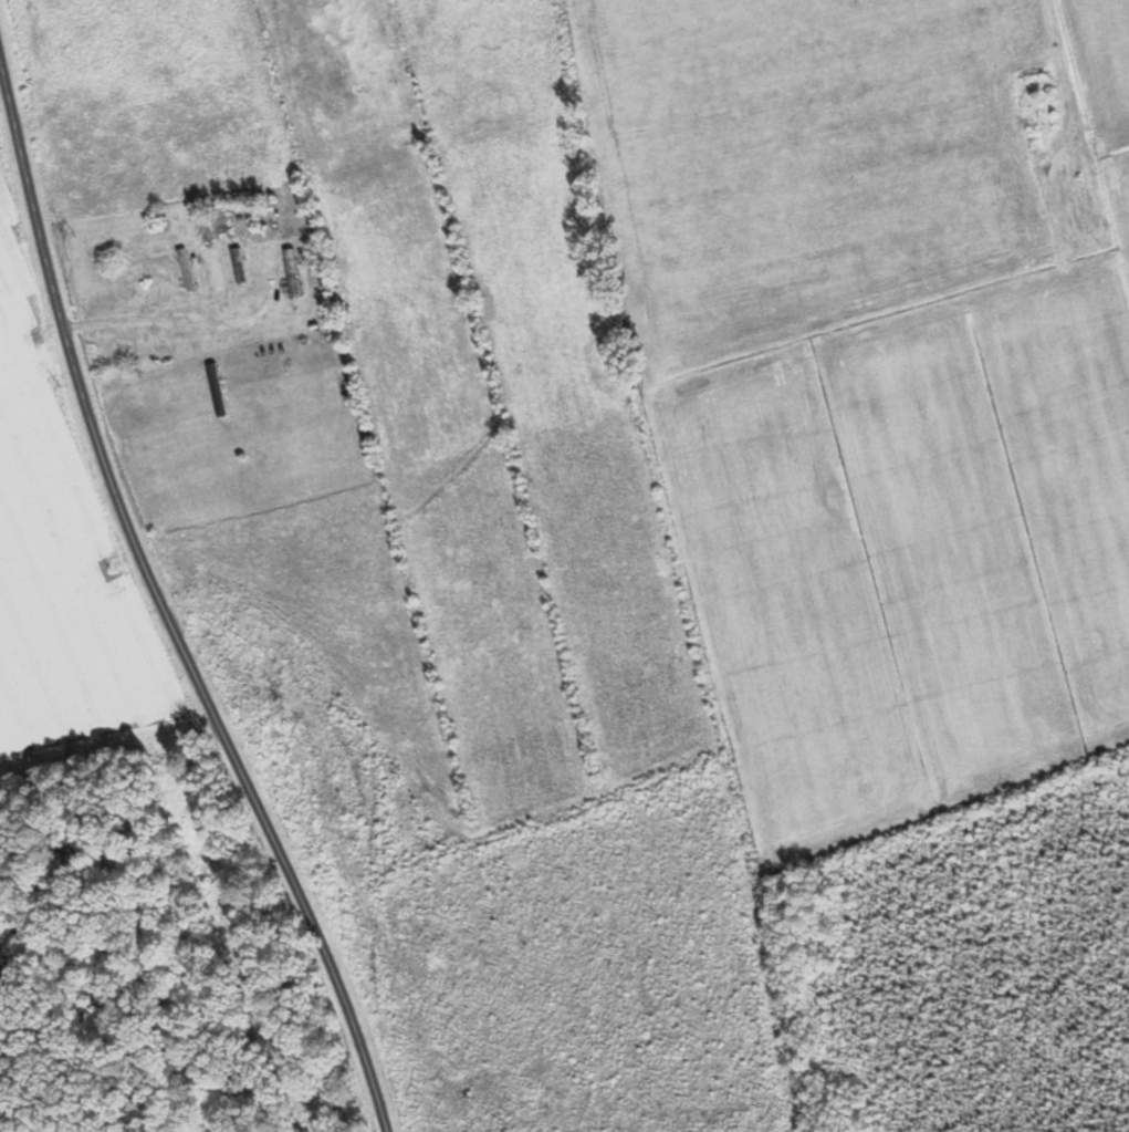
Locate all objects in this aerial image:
building: (241, 266)
building: (295, 272)
building: (191, 274)
road: (157, 607)

